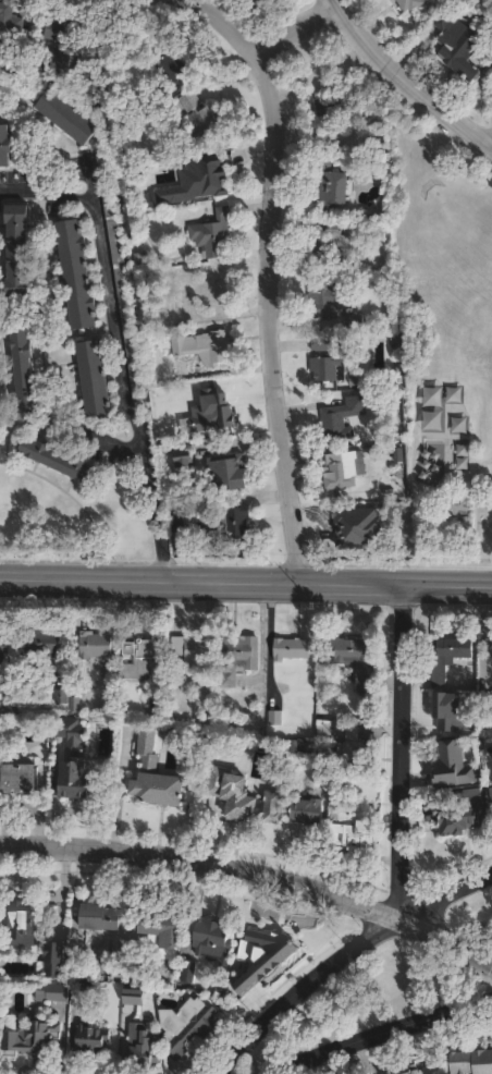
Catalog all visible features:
building: (248, 3)
building: (410, 4)
road: (222, 21)
road: (293, 28)
building: (14, 34)
building: (62, 38)
building: (108, 45)
building: (462, 49)
building: (41, 62)
building: (164, 66)
road: (407, 78)
building: (336, 107)
building: (66, 117)
building: (202, 120)
building: (4, 143)
building: (101, 163)
building: (200, 176)
building: (329, 184)
building: (210, 234)
building: (328, 246)
building: (14, 253)
building: (74, 276)
building: (205, 291)
building: (124, 295)
building: (333, 302)
road: (273, 317)
building: (201, 346)
road: (112, 349)
building: (321, 369)
building: (22, 371)
building: (90, 379)
building: (217, 403)
building: (339, 419)
building: (181, 457)
building: (56, 463)
building: (227, 471)
building: (343, 471)
building: (176, 522)
building: (232, 526)
building: (353, 530)
road: (246, 585)
building: (41, 643)
building: (94, 645)
building: (290, 648)
building: (192, 649)
building: (2, 651)
building: (489, 654)
building: (139, 656)
building: (353, 656)
building: (237, 659)
building: (445, 661)
building: (56, 697)
building: (10, 698)
building: (485, 703)
building: (323, 724)
building: (303, 744)
building: (353, 749)
road: (406, 754)
building: (236, 757)
building: (73, 760)
building: (324, 762)
building: (452, 765)
building: (16, 778)
building: (152, 782)
building: (489, 798)
building: (239, 805)
building: (271, 806)
building: (306, 809)
building: (460, 813)
building: (347, 823)
road: (251, 879)
road: (445, 899)
building: (98, 918)
building: (17, 923)
building: (158, 933)
building: (210, 939)
building: (260, 953)
building: (82, 959)
building: (50, 961)
building: (186, 969)
park: (404, 978)
building: (82, 990)
road: (309, 992)
building: (50, 993)
building: (132, 997)
building: (186, 1025)
building: (27, 1036)
road: (394, 1038)
building: (90, 1044)
building: (139, 1048)
building: (471, 1064)
building: (404, 1069)

